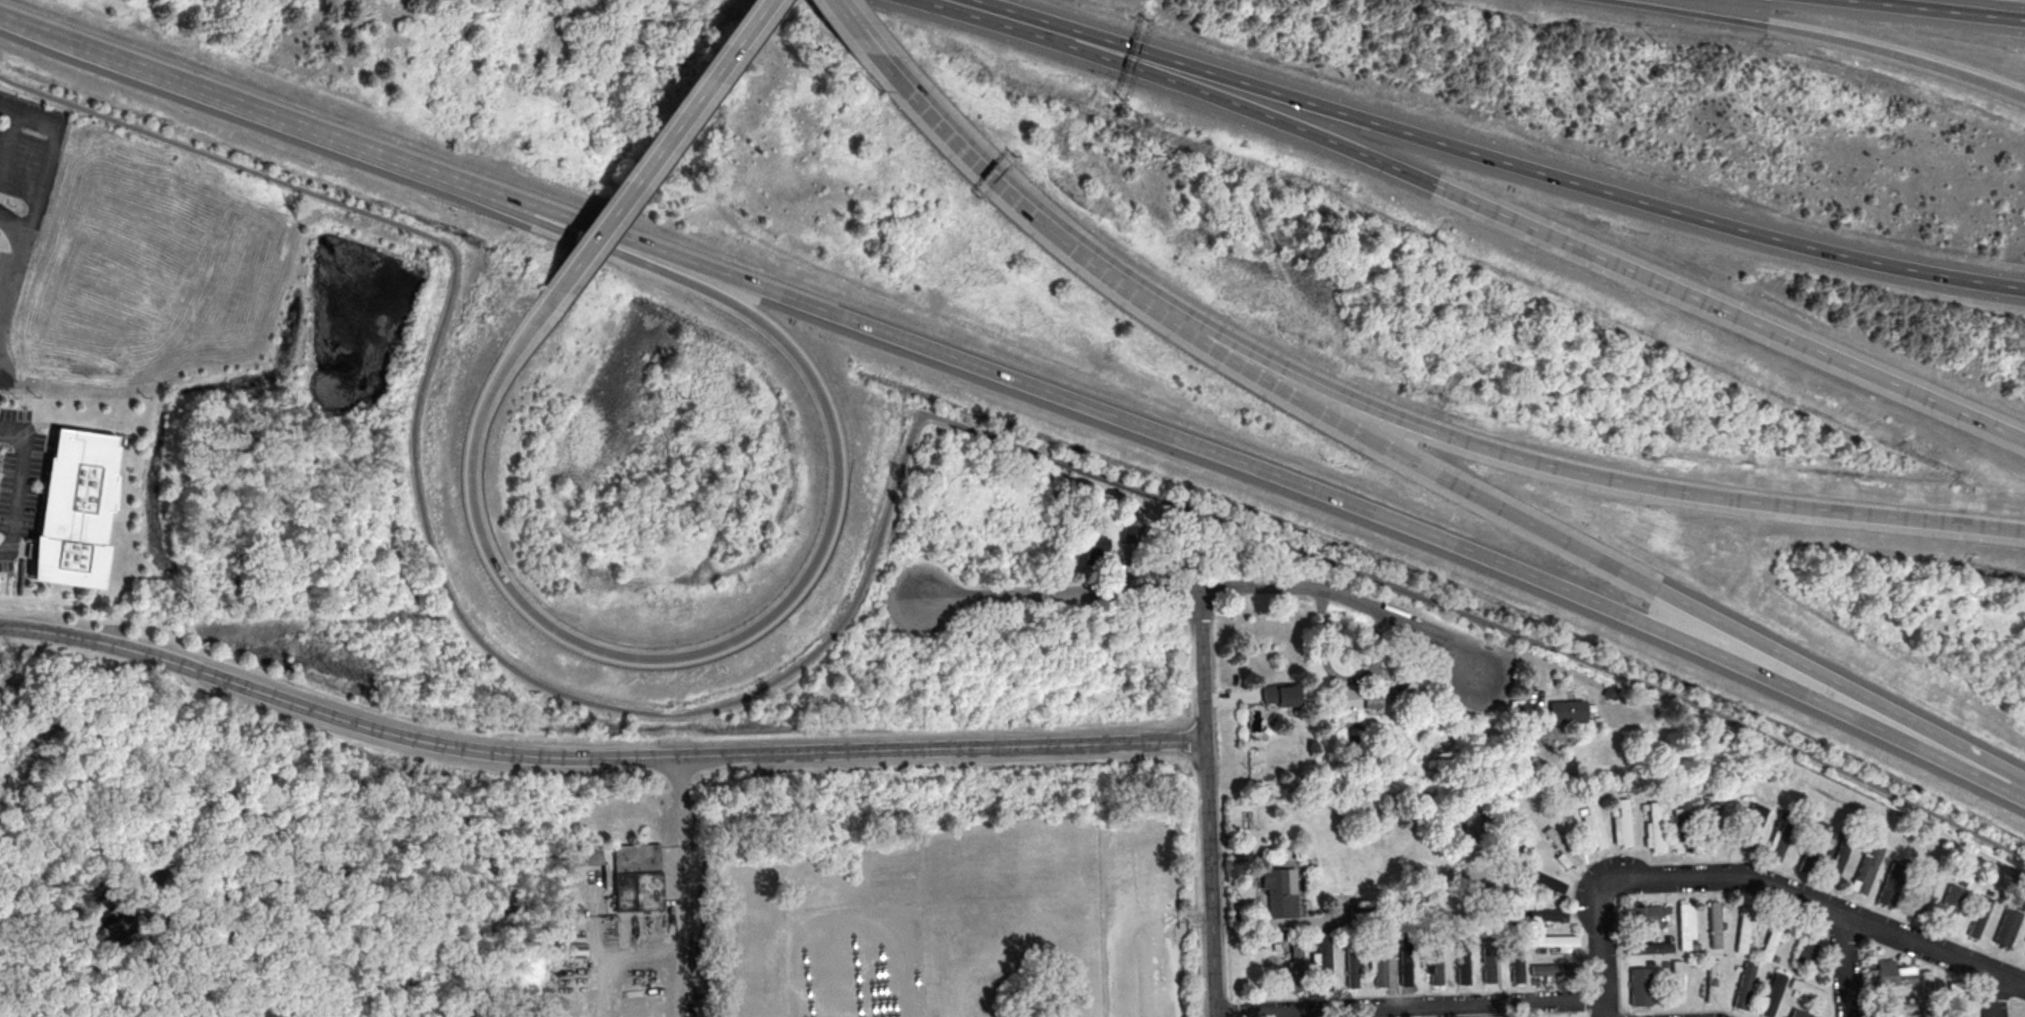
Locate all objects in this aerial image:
road: (987, 5)
road: (1941, 9)
road: (1012, 18)
road: (23, 21)
road: (851, 26)
road: (1825, 35)
road: (1166, 58)
road: (259, 110)
road: (938, 125)
road: (657, 144)
road: (8, 145)
road: (1638, 198)
road: (36, 201)
road: (13, 226)
road: (1551, 233)
road: (1090, 260)
road: (6, 378)
road: (1258, 467)
road: (1588, 472)
road: (20, 485)
building: (77, 511)
building: (1130, 534)
building: (1090, 548)
road: (1596, 555)
road: (863, 578)
road: (1215, 588)
road: (781, 604)
road: (265, 673)
building: (1412, 694)
building: (1281, 696)
building: (1354, 700)
building: (1566, 711)
road: (593, 758)
road: (682, 800)
road: (1206, 803)
building: (1681, 810)
building: (1478, 813)
building: (1621, 823)
building: (1593, 825)
building: (1750, 825)
building: (1813, 839)
building: (1561, 849)
building: (1836, 861)
building: (1865, 870)
building: (637, 877)
building: (1544, 880)
building: (1888, 891)
building: (1284, 893)
road: (1807, 900)
road: (681, 901)
building: (1948, 905)
building: (1540, 913)
building: (1646, 914)
building: (1367, 916)
building: (1978, 916)
building: (1715, 922)
building: (1684, 924)
building: (2006, 926)
building: (1745, 927)
building: (1772, 939)
building: (1554, 941)
building: (2024, 941)
building: (1647, 947)
building: (1807, 947)
building: (1462, 958)
building: (1488, 960)
road: (1600, 961)
building: (1323, 962)
building: (1517, 963)
building: (1379, 964)
road: (1843, 965)
road: (624, 966)
building: (1404, 967)
building: (1433, 967)
building: (1351, 969)
building: (1548, 970)
building: (1889, 973)
building: (1711, 980)
building: (1675, 981)
building: (1742, 985)
building: (1639, 986)
road: (674, 987)
building: (1806, 988)
building: (1771, 994)
road: (1993, 994)
road: (1408, 1006)
building: (1891, 1008)
building: (1800, 1013)

